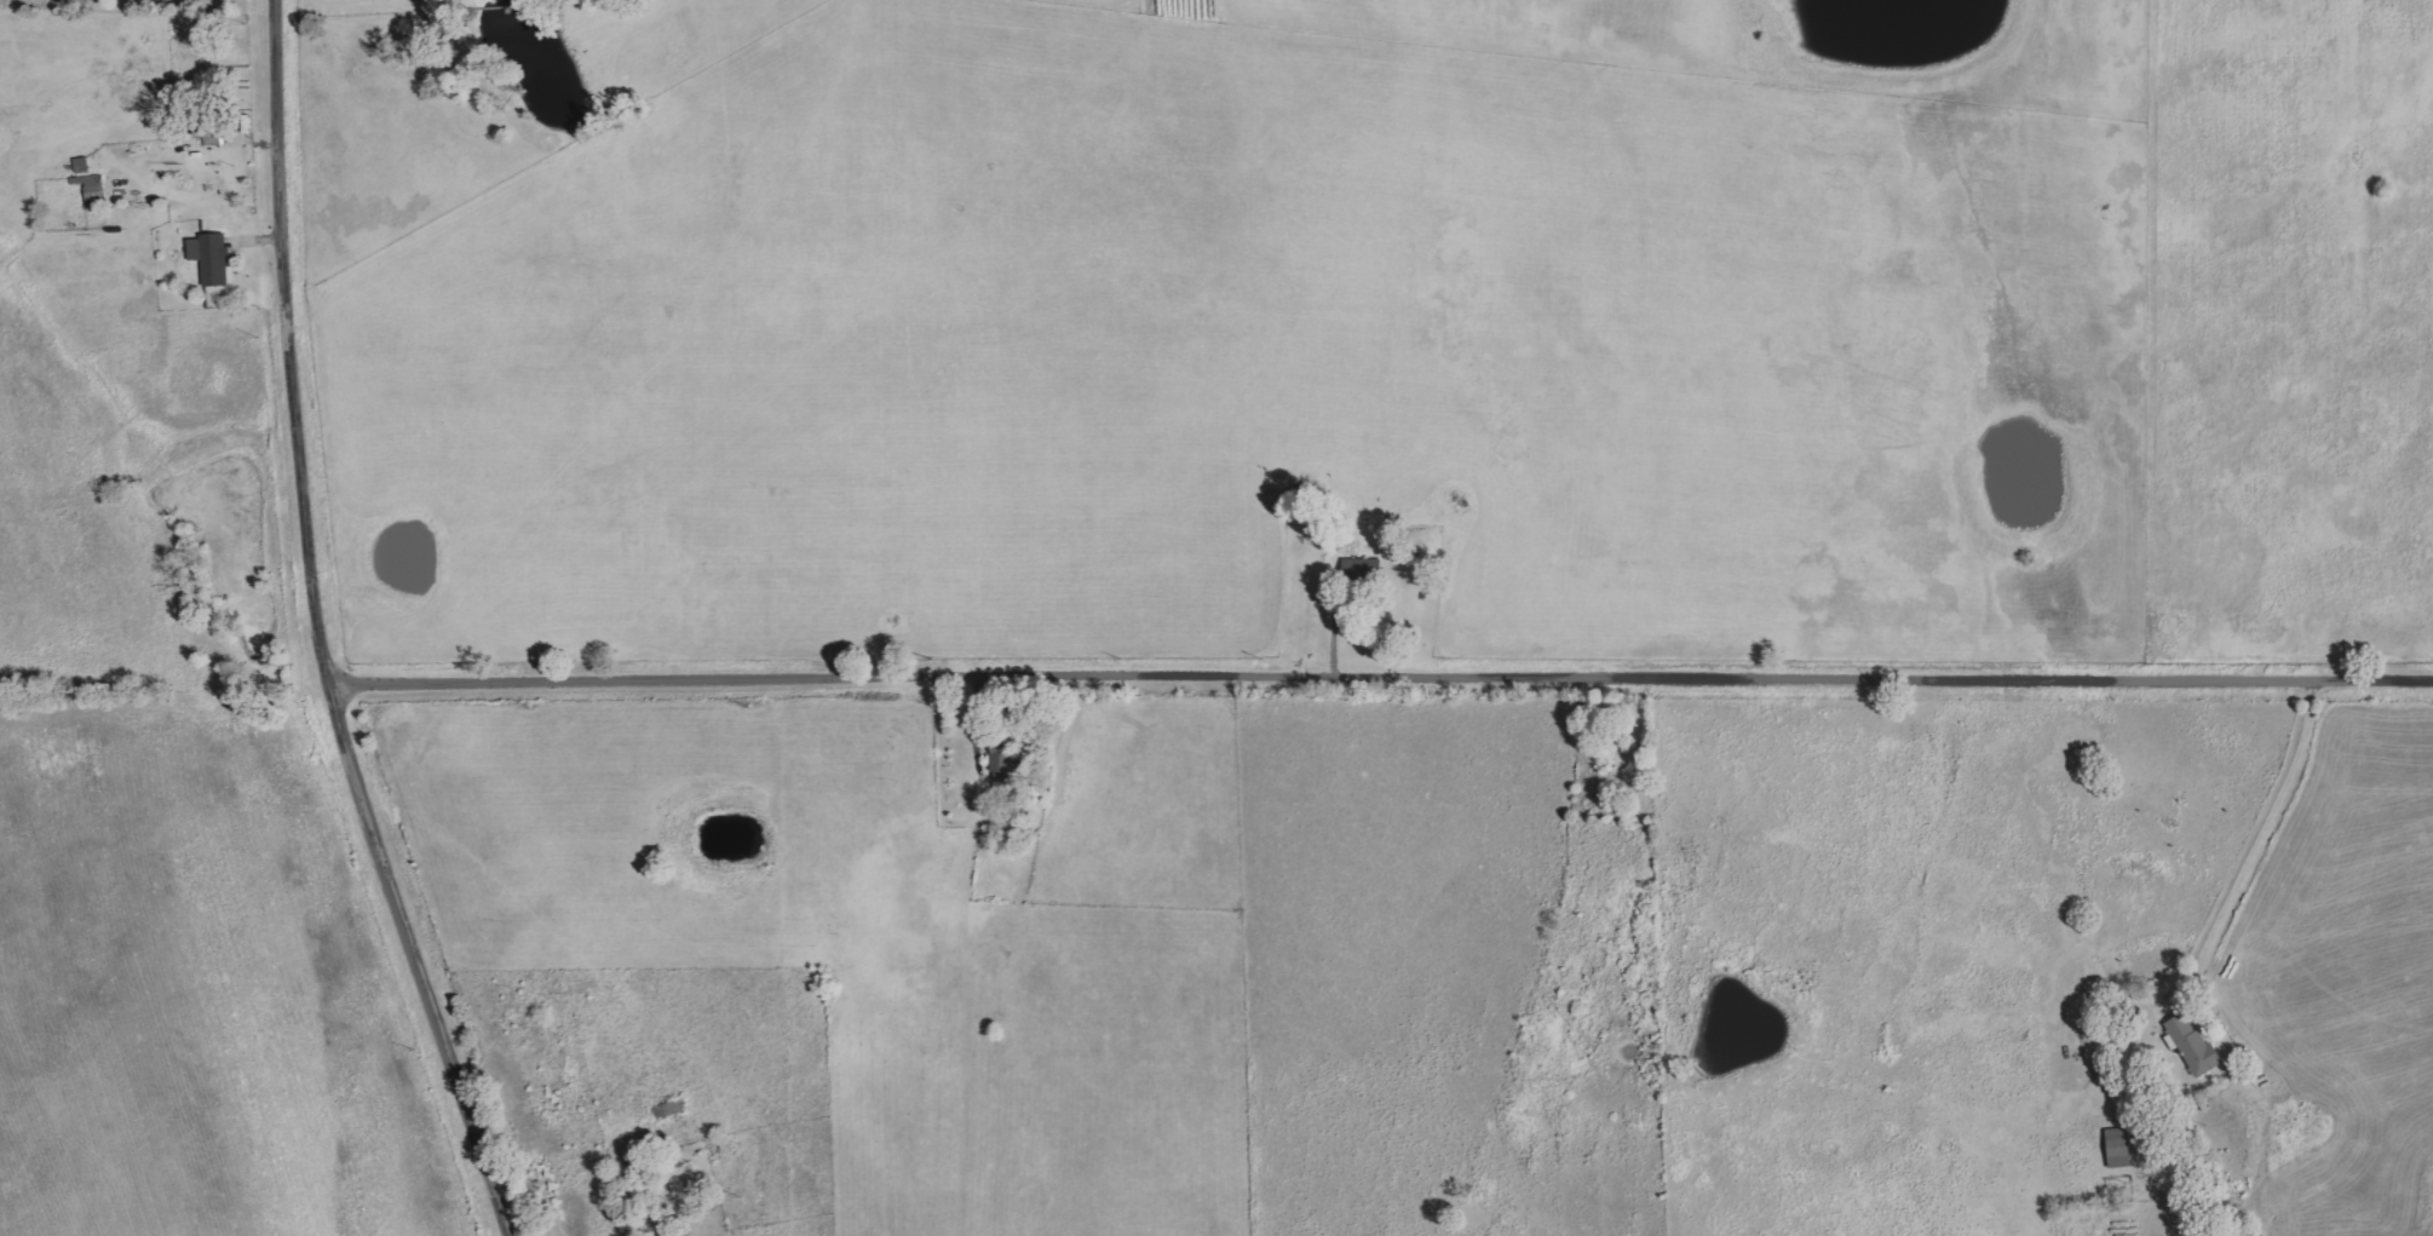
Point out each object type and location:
building: (213, 258)
road: (2242, 337)
building: (1430, 577)
road: (322, 630)
road: (1380, 671)
building: (1007, 770)
road: (2260, 844)
building: (2198, 1046)
road: (713, 1231)

